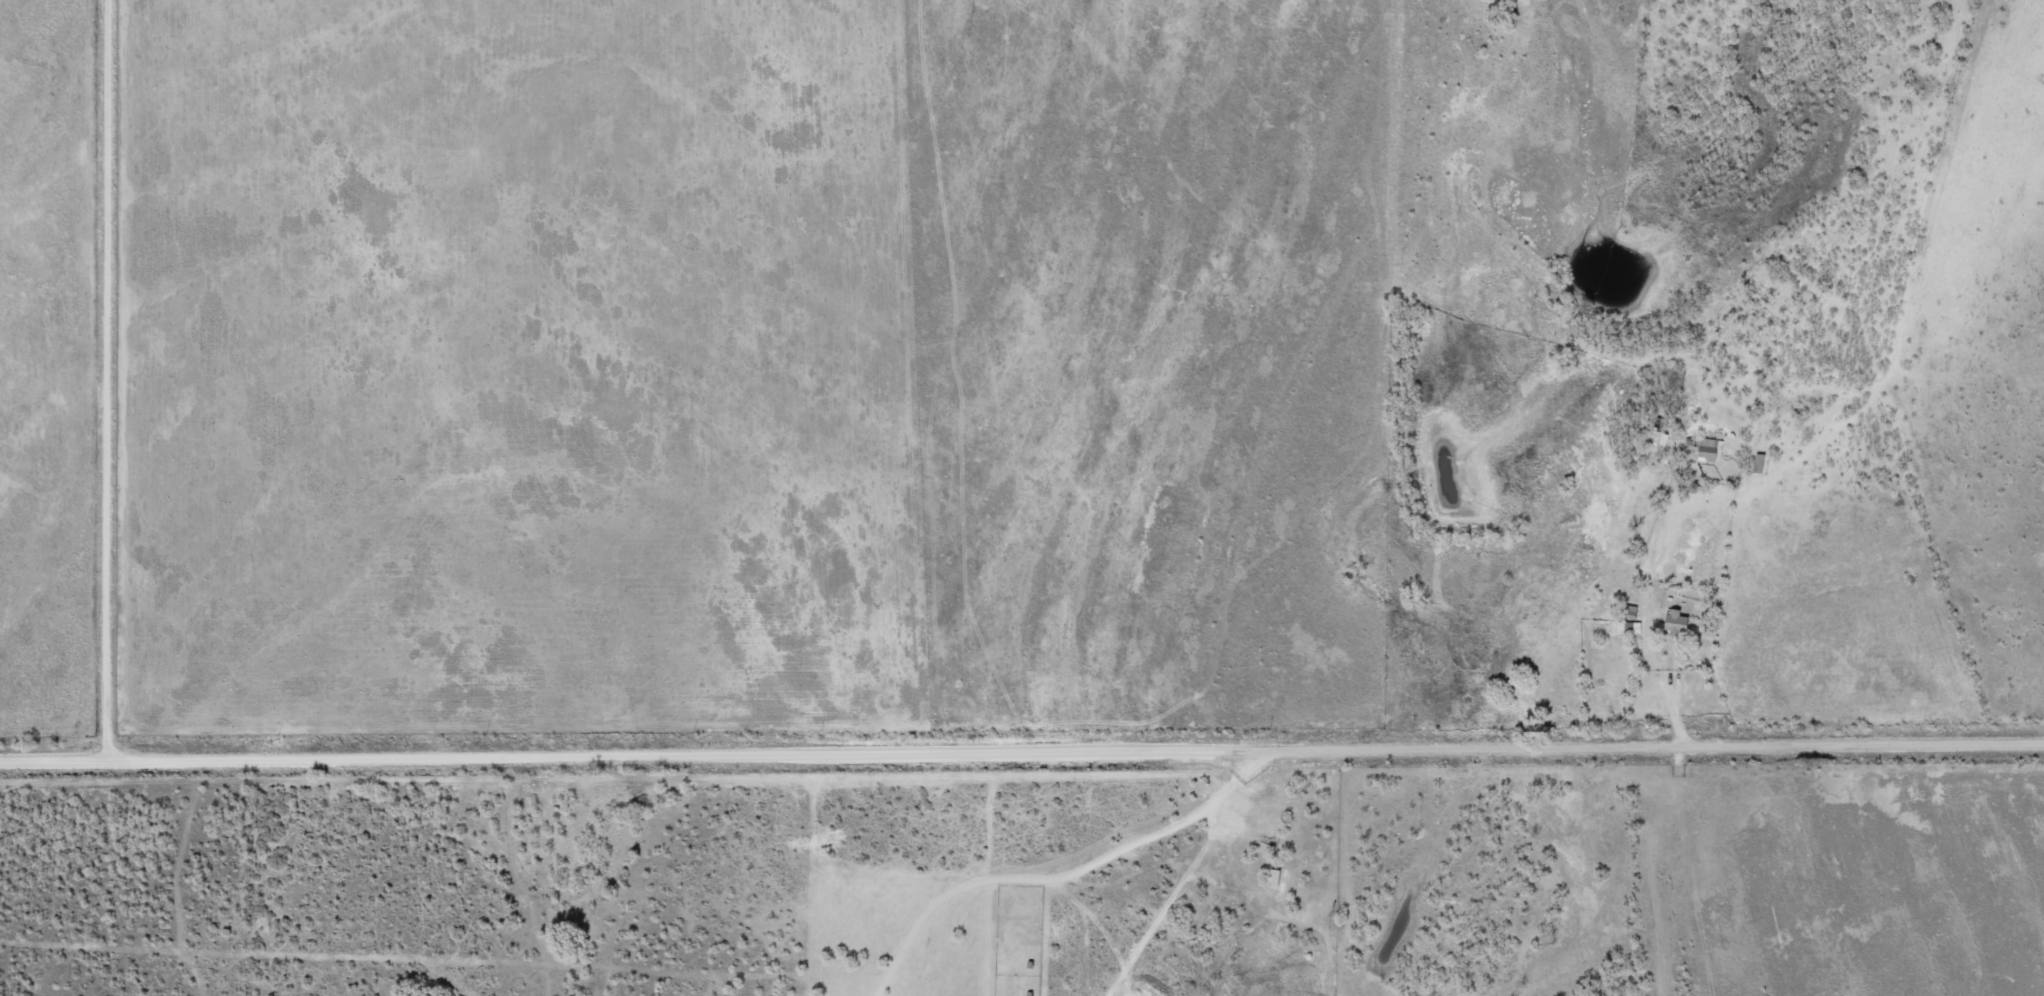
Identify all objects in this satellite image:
road: (116, 381)
building: (1752, 463)
building: (1666, 623)
building: (1616, 628)
road: (1022, 754)

